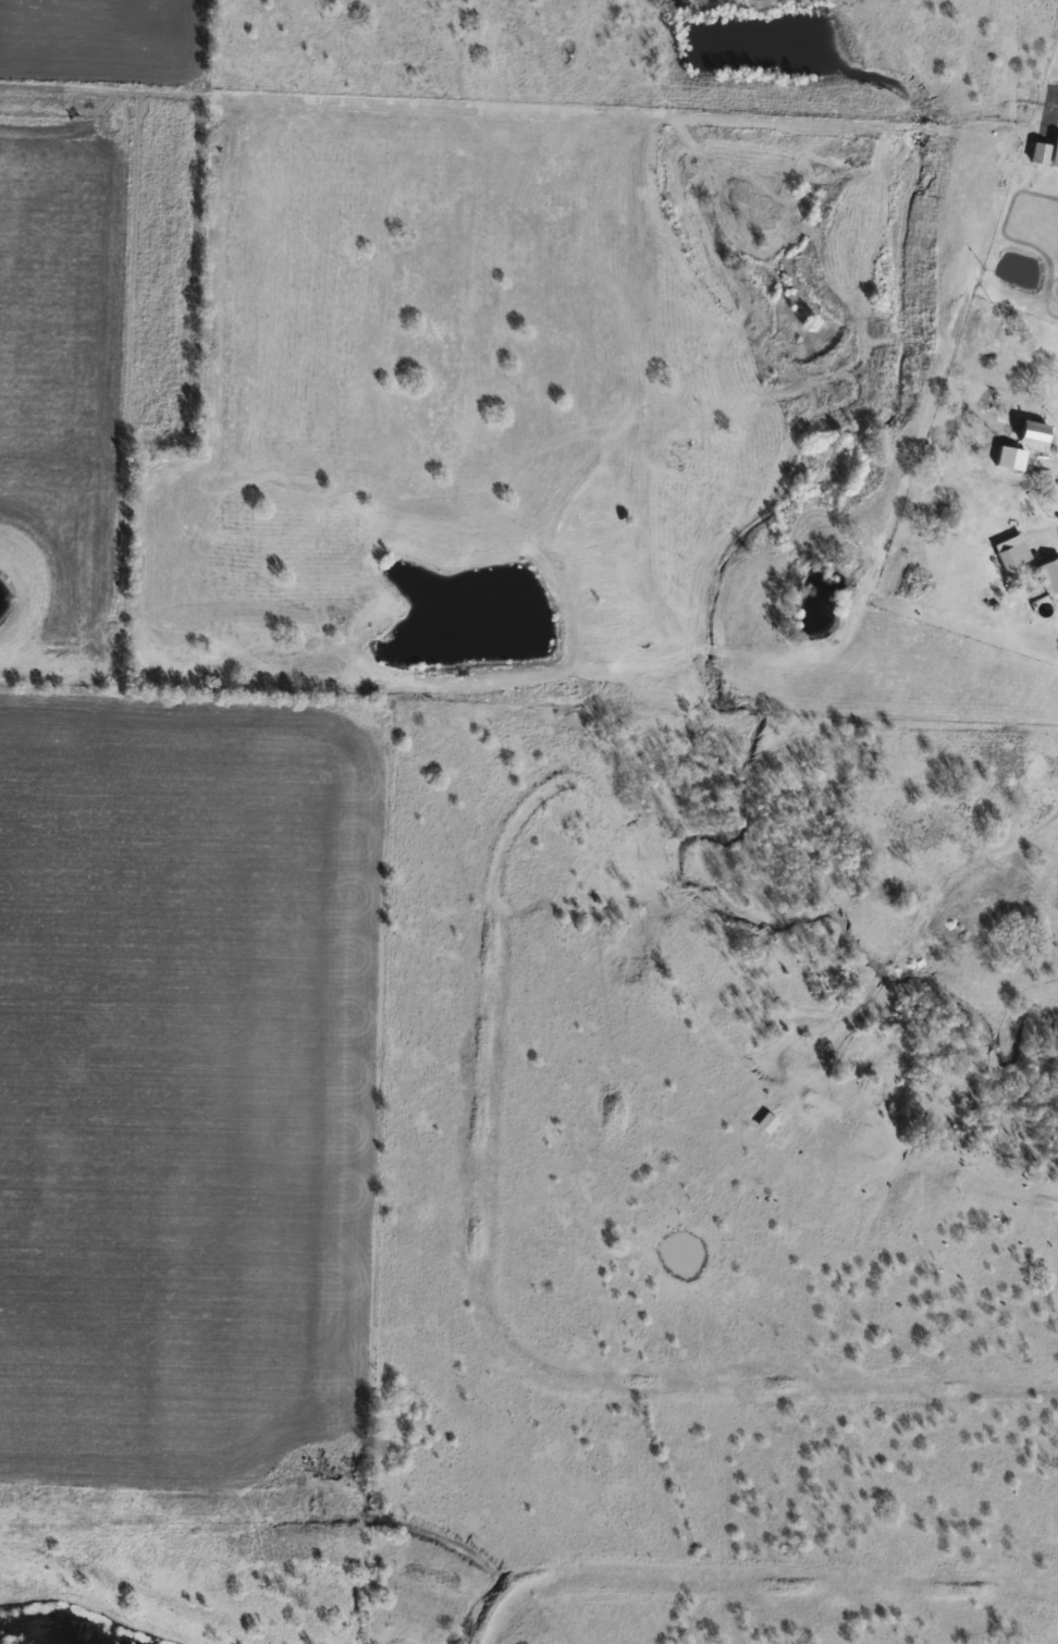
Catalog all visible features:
building: (1038, 154)
building: (1007, 559)
building: (1050, 574)
building: (766, 1122)

